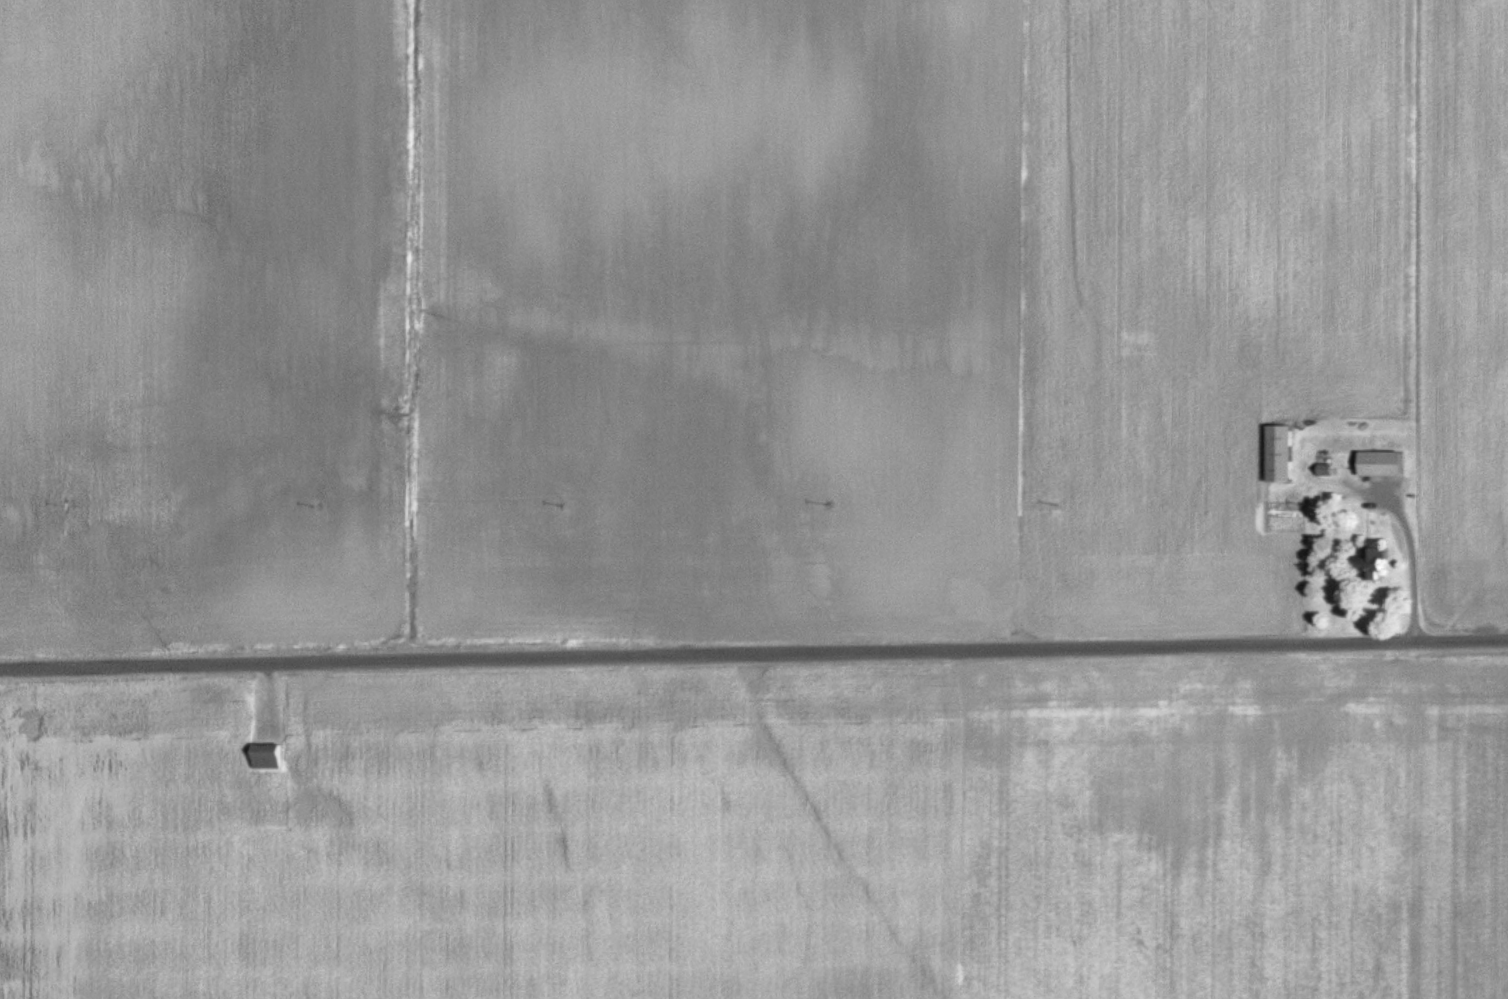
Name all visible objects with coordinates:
building: (1285, 453)
building: (1387, 463)
building: (1322, 494)
road: (1395, 557)
building: (1378, 559)
road: (753, 652)
building: (272, 757)

